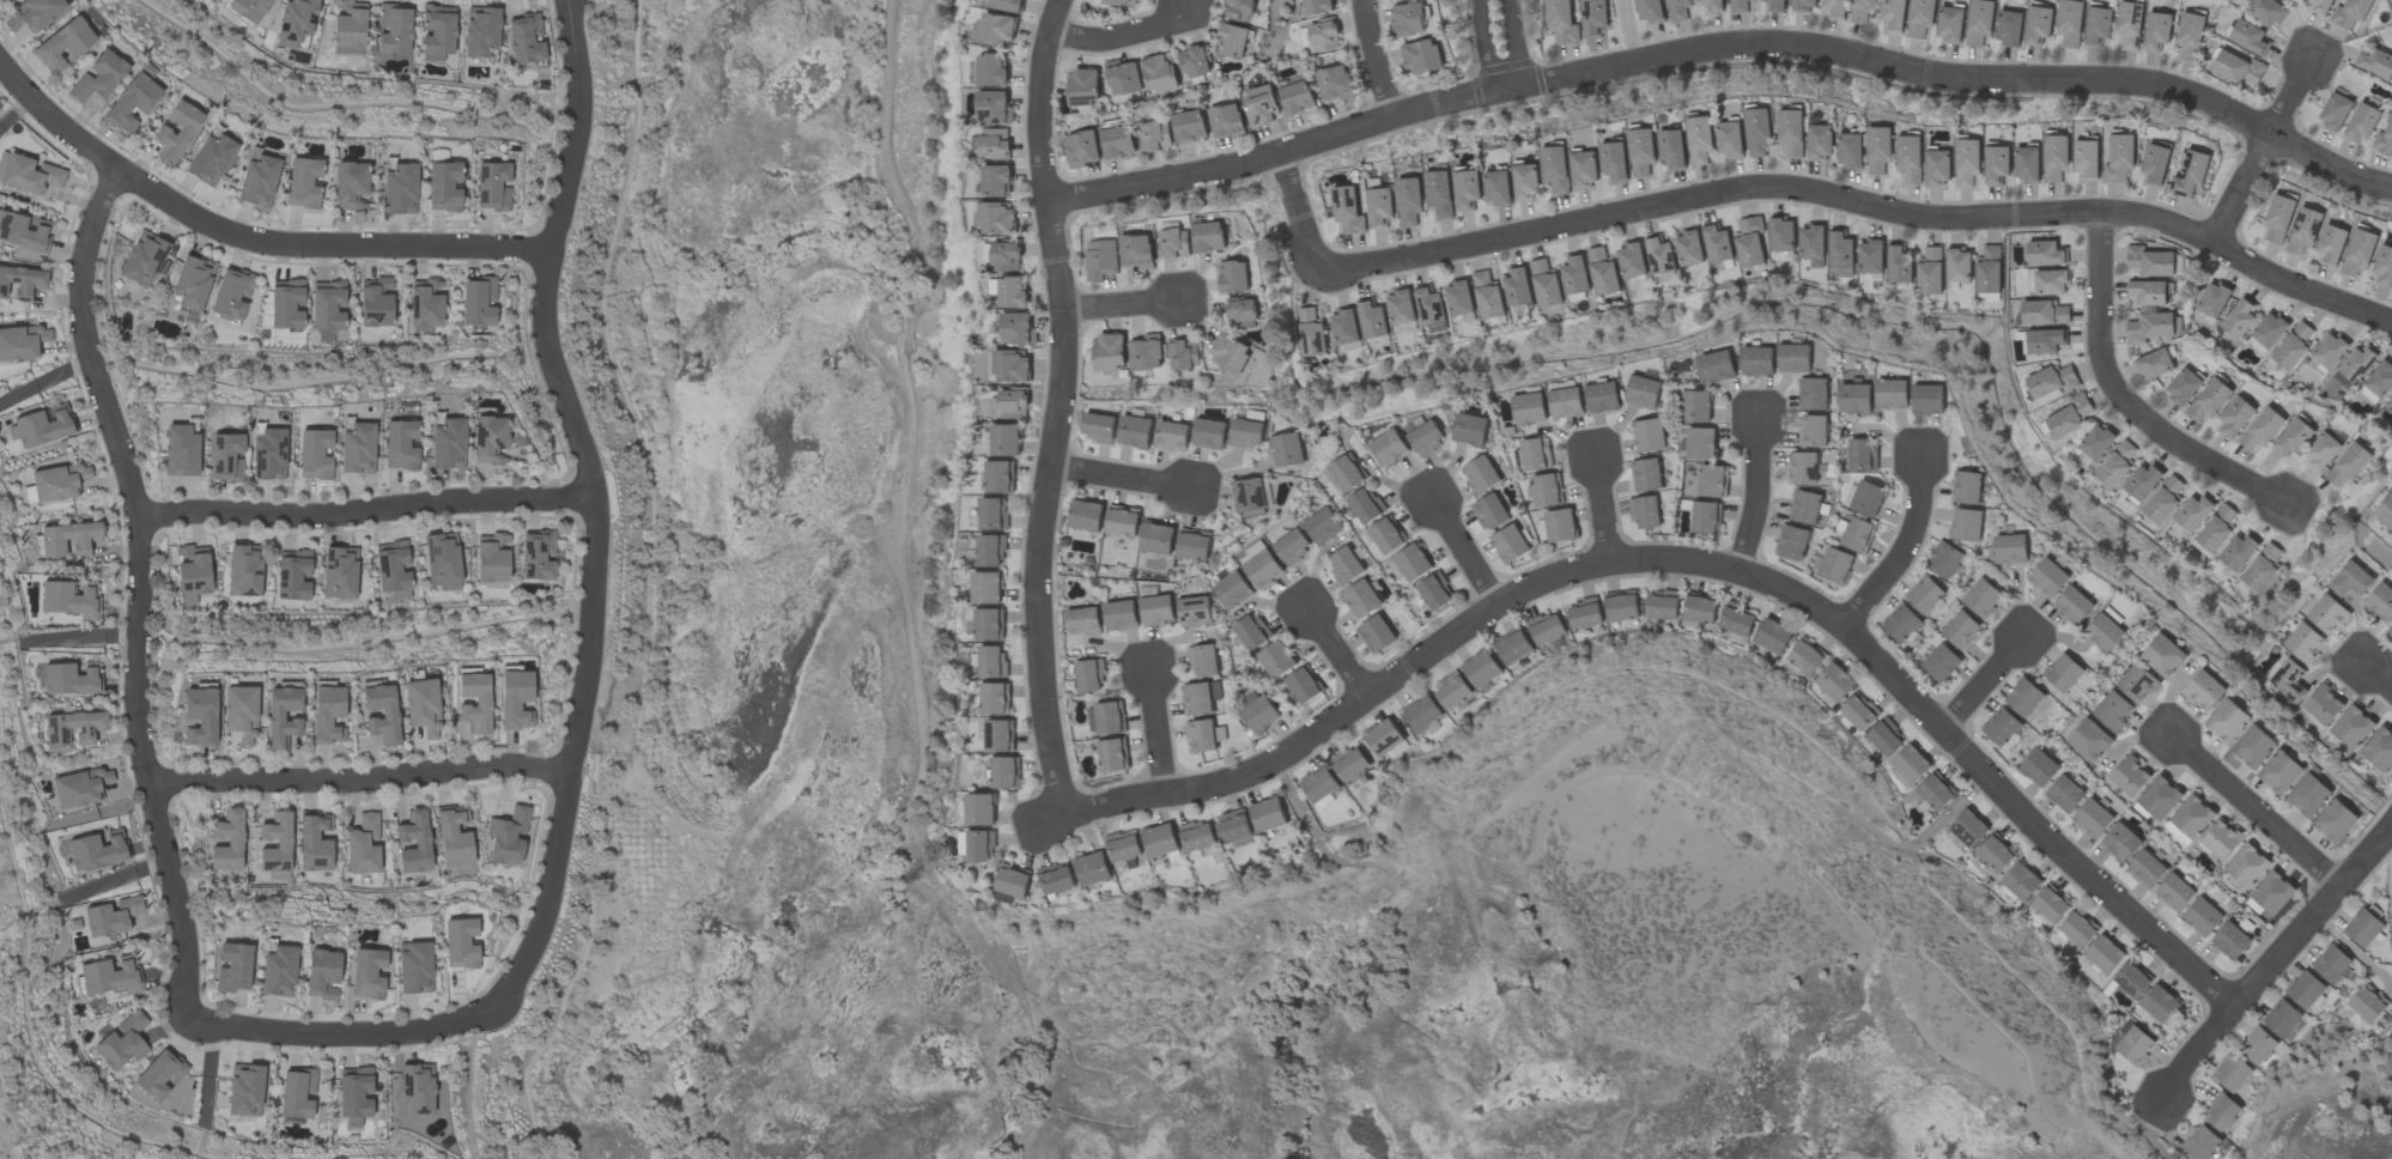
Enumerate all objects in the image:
building: (1123, 2)
building: (1009, 5)
building: (1712, 5)
building: (1804, 5)
building: (1737, 6)
building: (1775, 6)
building: (2320, 6)
building: (1316, 7)
building: (248, 8)
building: (1835, 8)
building: (1239, 10)
building: (1677, 10)
building: (1649, 11)
building: (1862, 11)
building: (2266, 11)
building: (34, 13)
building: (2351, 13)
building: (1893, 14)
building: (1595, 17)
building: (1920, 18)
building: (296, 20)
building: (1407, 20)
building: (1561, 22)
building: (1979, 23)
building: (2070, 23)
building: (1950, 24)
building: (2038, 25)
building: (2097, 25)
building: (2130, 25)
building: (347, 26)
building: (393, 28)
building: (2009, 28)
building: (997, 29)
building: (437, 31)
building: (480, 31)
building: (2157, 31)
road: (1128, 36)
building: (2190, 36)
building: (1323, 37)
building: (2248, 37)
building: (524, 38)
building: (1232, 41)
building: (62, 44)
road: (1501, 45)
road: (1724, 49)
building: (1422, 56)
road: (1377, 60)
building: (1194, 61)
building: (2375, 63)
building: (2239, 68)
building: (992, 69)
building: (1159, 74)
building: (97, 77)
building: (1122, 78)
building: (1335, 84)
building: (1082, 87)
building: (1297, 98)
building: (130, 102)
building: (1259, 105)
building: (995, 108)
building: (2335, 111)
building: (1226, 121)
building: (2361, 122)
building: (1189, 126)
building: (176, 131)
building: (1757, 131)
building: (1791, 132)
building: (1155, 136)
building: (1700, 139)
building: (1730, 139)
building: (2384, 140)
building: (1117, 141)
building: (994, 142)
building: (1821, 142)
building: (1081, 148)
building: (1672, 148)
building: (1850, 150)
building: (1878, 150)
building: (1641, 152)
road: (2260, 153)
building: (2056, 157)
building: (208, 158)
building: (1910, 158)
building: (2087, 158)
building: (2119, 158)
building: (1614, 159)
building: (1967, 162)
building: (2027, 164)
building: (1996, 165)
building: (1938, 168)
building: (1555, 169)
building: (1584, 169)
building: (28, 172)
building: (2190, 175)
building: (257, 178)
building: (996, 181)
building: (302, 182)
building: (1525, 182)
building: (350, 184)
building: (443, 186)
building: (491, 186)
building: (1498, 188)
building: (399, 189)
road: (1802, 189)
building: (1467, 190)
building: (1439, 193)
building: (1409, 201)
building: (1380, 207)
building: (1347, 211)
building: (994, 217)
building: (2278, 218)
building: (23, 231)
building: (2302, 231)
building: (1781, 235)
road: (245, 237)
building: (1209, 237)
building: (1174, 242)
building: (1749, 243)
building: (1717, 244)
building: (2331, 244)
building: (1811, 245)
building: (1688, 249)
building: (1136, 251)
building: (2358, 251)
building: (2045, 254)
building: (1659, 255)
building: (1840, 255)
building: (1006, 256)
building: (1870, 257)
building: (141, 259)
building: (1100, 260)
building: (1631, 261)
building: (2149, 261)
building: (1899, 265)
building: (1957, 266)
building: (2384, 266)
building: (1989, 269)
building: (1602, 272)
building: (1929, 272)
building: (1574, 275)
building: (1233, 277)
building: (22, 281)
building: (2051, 283)
building: (192, 284)
building: (1544, 284)
building: (1517, 287)
building: (1008, 291)
building: (231, 292)
building: (2149, 292)
building: (1487, 296)
building: (1458, 298)
building: (2212, 299)
building: (478, 301)
building: (375, 302)
building: (424, 303)
road: (1121, 303)
building: (286, 304)
building: (327, 305)
building: (1400, 308)
building: (1429, 308)
building: (2042, 312)
building: (1241, 314)
building: (2240, 317)
building: (1371, 318)
building: (1344, 327)
building: (2153, 327)
building: (1404, 328)
building: (1016, 329)
building: (1310, 333)
building: (2266, 333)
building: (2224, 336)
building: (22, 341)
building: (2045, 341)
building: (2293, 346)
building: (2329, 350)
building: (1109, 352)
building: (1145, 353)
building: (1230, 353)
building: (1183, 354)
building: (1793, 358)
building: (1757, 360)
building: (2154, 364)
building: (1010, 366)
building: (1714, 366)
building: (2354, 368)
building: (2380, 380)
building: (2051, 381)
building: (2182, 387)
building: (1643, 392)
building: (1811, 394)
building: (1890, 394)
building: (2368, 395)
building: (1602, 398)
building: (1854, 399)
road: (2123, 399)
building: (1927, 400)
building: (2208, 400)
building: (1565, 402)
building: (1012, 403)
building: (2390, 403)
road: (1060, 405)
building: (1695, 406)
building: (1529, 408)
building: (2068, 417)
building: (2235, 417)
building: (41, 426)
building: (1098, 427)
building: (1470, 429)
building: (2262, 430)
building: (1135, 431)
building: (1813, 431)
building: (1209, 433)
building: (1246, 433)
building: (1649, 435)
building: (1171, 436)
building: (1427, 437)
building: (2293, 437)
building: (487, 438)
building: (1006, 439)
building: (2096, 442)
building: (447, 443)
building: (1700, 443)
building: (400, 444)
building: (356, 448)
building: (1389, 448)
building: (1287, 449)
building: (180, 450)
building: (2321, 451)
building: (312, 453)
building: (267, 454)
building: (1862, 454)
building: (1535, 455)
building: (225, 456)
building: (2115, 465)
building: (2348, 465)
building: (1802, 468)
building: (1347, 473)
building: (1481, 474)
building: (1645, 475)
building: (1000, 477)
road: (1122, 479)
building: (57, 480)
building: (1712, 481)
building: (2142, 483)
building: (1966, 487)
building: (1547, 490)
building: (1250, 496)
road: (1754, 498)
building: (1866, 499)
building: (2163, 500)
building: (1365, 505)
road: (595, 506)
road: (364, 508)
road: (1602, 508)
building: (1804, 508)
building: (2385, 511)
building: (1489, 512)
building: (1645, 512)
building: (2193, 512)
building: (992, 514)
building: (1085, 516)
building: (1705, 517)
building: (1122, 521)
building: (1967, 524)
building: (1323, 526)
building: (1560, 526)
building: (2216, 529)
building: (1857, 534)
building: (1386, 535)
building: (67, 538)
building: (1156, 539)
building: (1791, 542)
building: (1510, 544)
building: (1192, 545)
building: (1292, 546)
road: (1901, 547)
building: (2008, 550)
building: (991, 551)
building: (2238, 551)
road: (1463, 553)
building: (536, 554)
building: (491, 557)
building: (442, 560)
building: (1944, 560)
road: (1684, 562)
building: (1411, 563)
building: (1344, 565)
building: (1835, 565)
building: (1262, 568)
building: (2260, 568)
building: (391, 569)
building: (243, 570)
building: (339, 571)
building: (192, 572)
building: (292, 575)
building: (2048, 577)
building: (2352, 579)
road: (138, 588)
building: (986, 588)
building: (1233, 590)
building: (1435, 591)
building: (1924, 595)
building: (1981, 597)
building: (68, 599)
building: (1361, 599)
building: (2380, 602)
building: (1661, 605)
building: (2074, 605)
building: (1621, 606)
building: (1699, 608)
building: (1156, 611)
building: (1195, 612)
building: (1584, 614)
building: (2327, 614)
building: (1121, 615)
building: (1735, 620)
building: (1083, 621)
building: (1900, 623)
building: (989, 625)
building: (1547, 629)
building: (1960, 630)
building: (1252, 631)
building: (2103, 632)
building: (1376, 633)
building: (2388, 633)
building: (1772, 636)
road: (81, 637)
building: (2303, 642)
building: (1512, 647)
road: (1334, 651)
building: (2165, 655)
building: (1803, 657)
building: (1276, 660)
building: (992, 661)
building: (1203, 661)
building: (1941, 663)
building: (1481, 668)
building: (2063, 673)
road: (2374, 674)
building: (1089, 675)
building: (69, 678)
road: (1986, 679)
building: (2288, 680)
building: (1834, 681)
building: (2137, 682)
building: (1304, 685)
building: (1451, 690)
building: (2204, 691)
building: (995, 698)
building: (1200, 698)
building: (2023, 698)
building: (514, 699)
building: (473, 702)
building: (2323, 705)
building: (420, 706)
building: (2113, 710)
building: (1257, 711)
building: (1858, 711)
building: (239, 712)
building: (381, 712)
building: (326, 714)
building: (1422, 714)
building: (199, 716)
building: (281, 716)
building: (1105, 718)
building: (2227, 720)
building: (72, 727)
building: (2001, 727)
building: (2351, 728)
road: (1149, 733)
building: (998, 735)
building: (1201, 735)
building: (1383, 738)
building: (1884, 738)
building: (2090, 740)
building: (2253, 746)
building: (2379, 750)
building: (1112, 756)
building: (1349, 764)
building: (1911, 764)
building: (2039, 767)
building: (1004, 772)
building: (2279, 772)
building: (2129, 776)
road: (358, 778)
building: (1318, 784)
building: (77, 789)
building: (1936, 791)
building: (2065, 794)
building: (2308, 795)
building: (2160, 797)
road: (2251, 808)
building: (979, 809)
building: (1267, 814)
building: (2192, 817)
building: (2092, 819)
building: (2336, 821)
building: (1233, 827)
building: (1968, 827)
building: (453, 836)
building: (506, 836)
building: (1196, 837)
building: (2221, 839)
building: (226, 841)
building: (1159, 841)
building: (314, 842)
building: (413, 842)
building: (2120, 842)
building: (362, 845)
building: (976, 845)
building: (275, 847)
building: (97, 849)
building: (1995, 852)
building: (2247, 866)
building: (1091, 869)
building: (2145, 869)
building: (1055, 878)
building: (2021, 881)
building: (1010, 884)
building: (2174, 892)
building: (2272, 893)
building: (2050, 904)
building: (2257, 910)
building: (111, 915)
building: (2202, 916)
building: (2077, 928)
building: (2367, 928)
building: (2230, 941)
building: (459, 942)
road: (2354, 949)
building: (2103, 954)
road: (2275, 963)
building: (2331, 964)
building: (232, 966)
building: (413, 967)
building: (277, 971)
building: (366, 972)
building: (321, 973)
building: (2131, 978)
building: (2305, 990)
building: (2366, 1003)
building: (2156, 1006)
building: (2282, 1019)
road: (340, 1033)
building: (122, 1042)
building: (2135, 1045)
building: (2257, 1046)
building: (2232, 1073)
building: (159, 1075)
building: (244, 1090)
building: (419, 1090)
building: (297, 1093)
building: (353, 1094)
building: (2221, 1112)
building: (2200, 1142)

